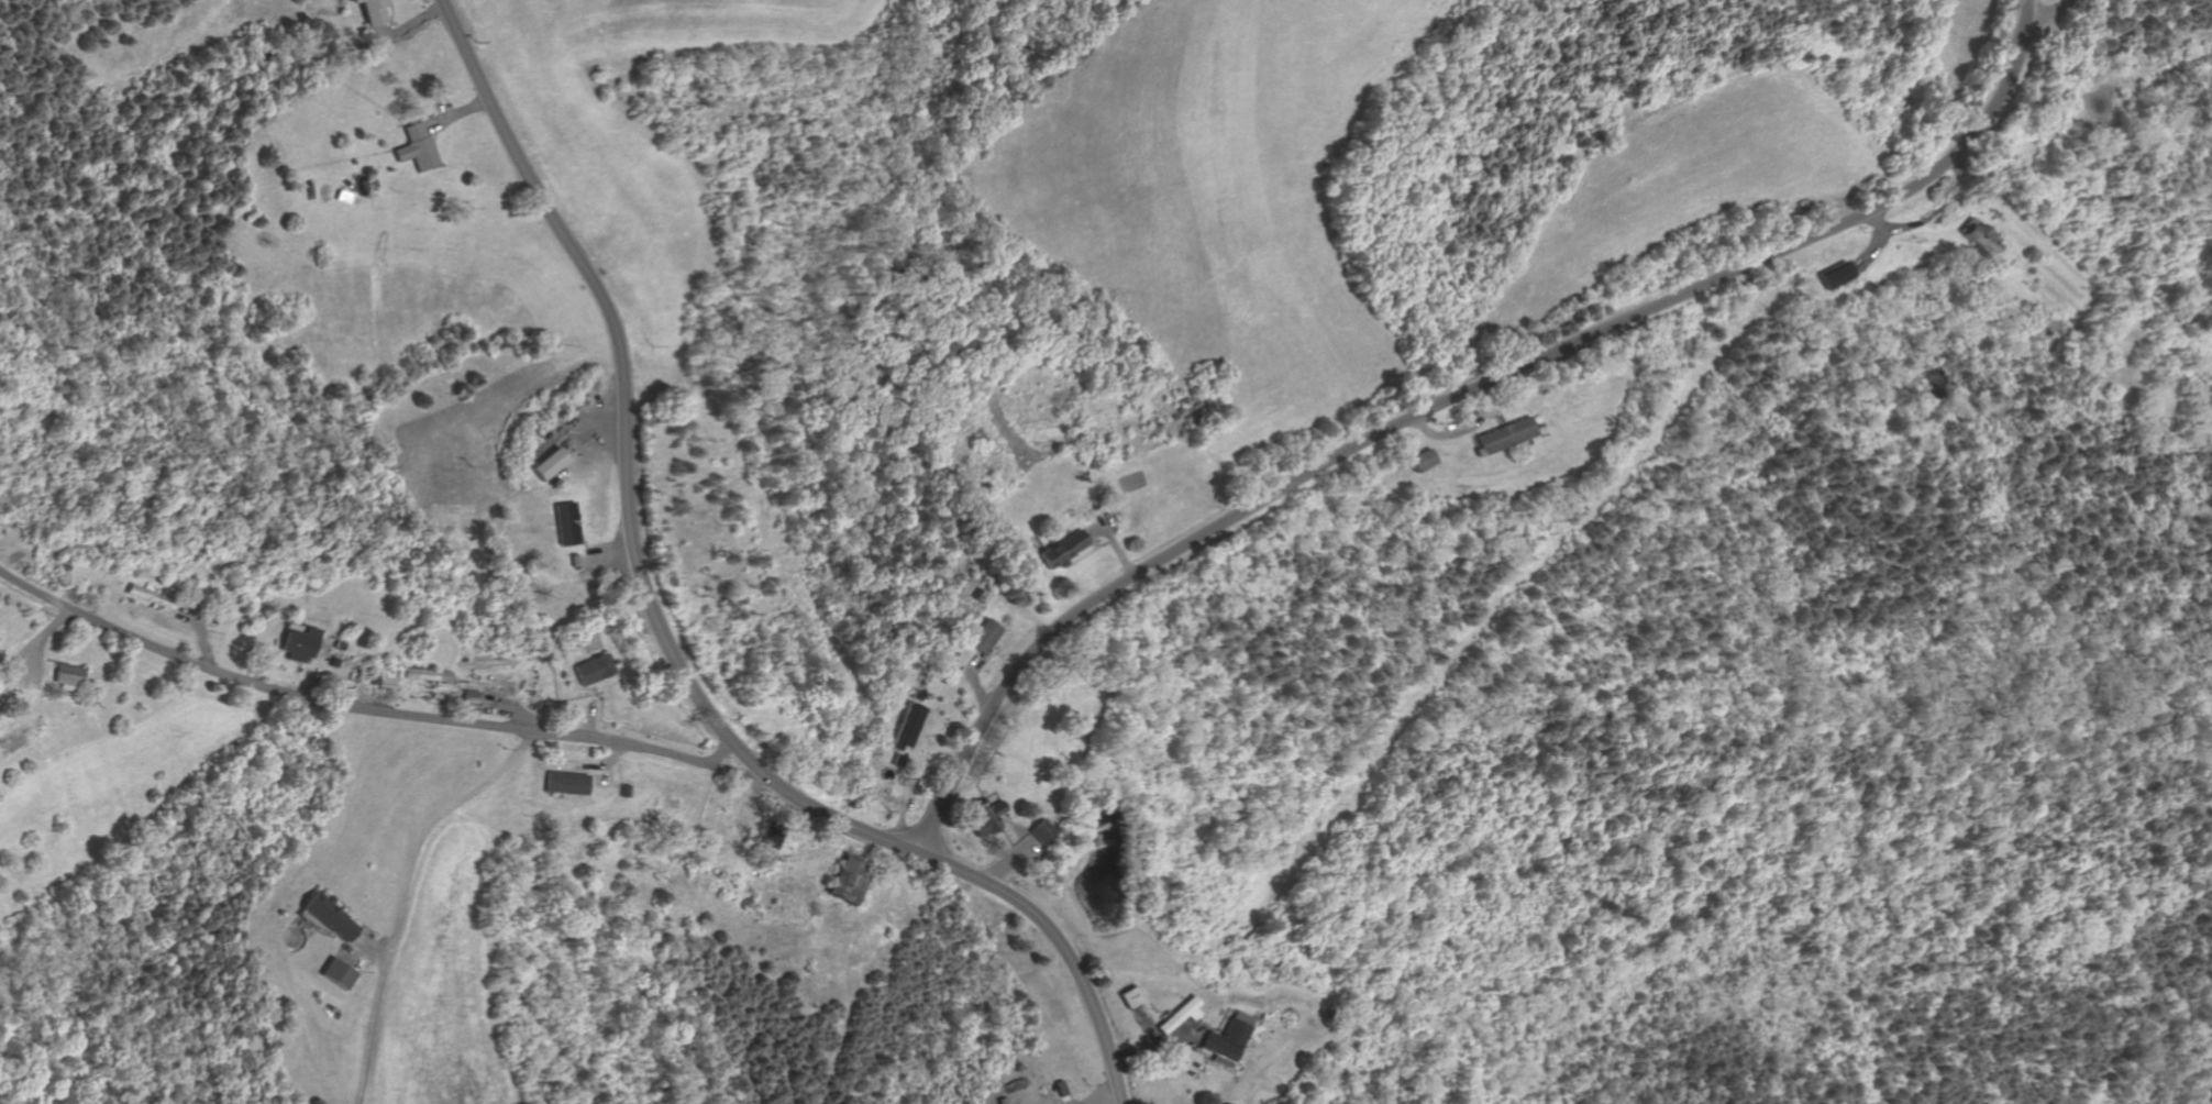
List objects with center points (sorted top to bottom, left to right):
building: (377, 11)
road: (2048, 14)
road: (392, 19)
road: (401, 30)
road: (380, 32)
road: (441, 111)
road: (456, 113)
road: (434, 133)
building: (418, 147)
building: (346, 197)
road: (1896, 228)
building: (1979, 236)
road: (1874, 251)
building: (1838, 274)
building: (2037, 316)
road: (1458, 395)
road: (1497, 413)
road: (1493, 417)
building: (1537, 419)
road: (593, 429)
road: (564, 430)
road: (1460, 431)
building: (1507, 437)
building: (1426, 461)
building: (550, 464)
building: (568, 525)
road: (1094, 538)
road: (1110, 542)
building: (1064, 551)
road: (1086, 553)
road: (609, 556)
building: (576, 561)
building: (63, 568)
building: (147, 596)
building: (984, 596)
road: (163, 610)
building: (211, 620)
building: (585, 631)
road: (201, 636)
building: (988, 638)
road: (664, 639)
road: (35, 642)
building: (299, 644)
building: (339, 647)
building: (333, 662)
road: (16, 670)
building: (597, 670)
building: (395, 671)
building: (362, 675)
building: (428, 675)
building: (68, 677)
building: (372, 680)
building: (386, 682)
road: (309, 683)
road: (975, 688)
building: (919, 696)
building: (472, 697)
road: (510, 708)
road: (381, 711)
road: (588, 720)
building: (910, 727)
road: (917, 740)
road: (717, 754)
building: (900, 761)
road: (611, 763)
road: (575, 769)
road: (606, 775)
building: (569, 784)
road: (911, 787)
building: (628, 791)
building: (987, 816)
road: (1018, 825)
building: (1042, 830)
road: (427, 831)
road: (1013, 831)
building: (772, 833)
building: (764, 859)
road: (1011, 861)
building: (851, 877)
building: (332, 915)
road: (354, 916)
road: (373, 946)
road: (357, 951)
building: (343, 972)
building: (1129, 996)
building: (1180, 1014)
road: (1143, 1023)
road: (370, 1038)
building: (1227, 1038)
road: (1152, 1041)
building: (1062, 1089)
road: (1108, 1096)
road: (1066, 1100)
building: (1006, 1101)

